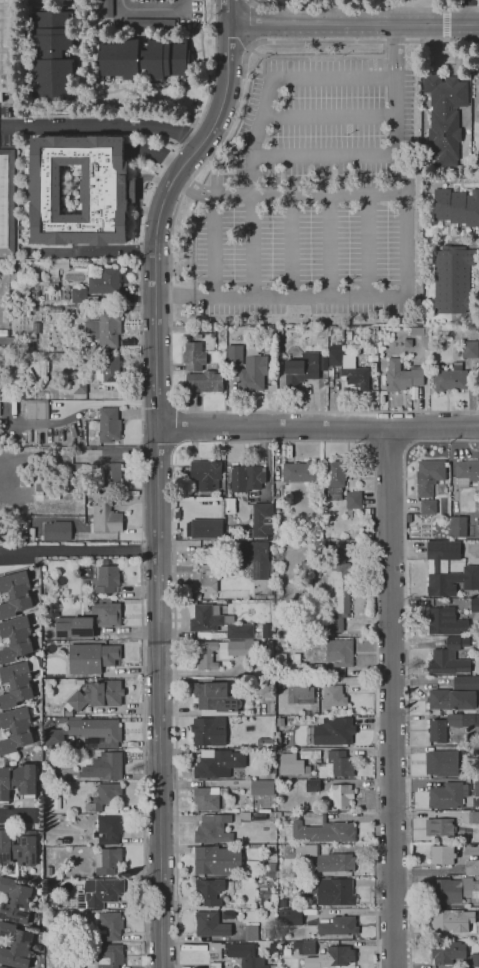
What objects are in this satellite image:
road: (468, 2)
building: (106, 8)
road: (150, 10)
road: (363, 10)
road: (288, 12)
road: (227, 13)
road: (468, 15)
building: (148, 24)
road: (445, 25)
road: (353, 26)
building: (5, 51)
road: (392, 52)
building: (53, 55)
building: (143, 59)
road: (327, 117)
building: (445, 117)
road: (104, 126)
road: (377, 155)
road: (250, 175)
building: (78, 190)
parking lot: (312, 198)
building: (6, 200)
building: (456, 207)
road: (143, 215)
road: (365, 245)
road: (211, 246)
road: (251, 246)
road: (288, 246)
road: (328, 246)
road: (169, 253)
road: (404, 253)
building: (57, 266)
building: (11, 269)
building: (452, 280)
building: (89, 288)
building: (5, 318)
building: (64, 318)
building: (35, 328)
building: (104, 328)
building: (330, 329)
building: (432, 330)
building: (355, 331)
building: (341, 334)
building: (348, 335)
building: (198, 336)
building: (470, 337)
building: (7, 344)
building: (18, 345)
building: (27, 347)
building: (469, 349)
building: (234, 355)
building: (193, 357)
building: (218, 357)
building: (374, 358)
building: (348, 368)
building: (106, 370)
building: (301, 370)
building: (373, 370)
building: (330, 372)
building: (252, 374)
building: (401, 376)
building: (450, 378)
building: (203, 382)
building: (75, 386)
road: (157, 403)
building: (41, 411)
building: (107, 425)
road: (179, 427)
road: (317, 428)
road: (371, 428)
road: (408, 428)
road: (272, 440)
road: (159, 443)
road: (388, 448)
road: (149, 453)
road: (71, 455)
building: (78, 471)
building: (205, 473)
building: (300, 473)
building: (466, 473)
building: (111, 477)
building: (428, 477)
building: (246, 478)
building: (334, 480)
road: (157, 487)
building: (353, 500)
building: (229, 506)
building: (427, 507)
building: (349, 512)
building: (366, 515)
building: (105, 517)
building: (260, 520)
building: (328, 520)
building: (476, 523)
building: (458, 527)
building: (203, 528)
building: (56, 531)
building: (269, 537)
building: (281, 544)
road: (78, 551)
building: (256, 558)
building: (313, 559)
building: (42, 568)
building: (437, 569)
building: (107, 579)
building: (204, 579)
building: (15, 594)
building: (268, 594)
building: (336, 598)
building: (474, 603)
building: (207, 619)
building: (88, 622)
building: (445, 622)
building: (239, 631)
building: (266, 631)
building: (15, 639)
building: (269, 647)
building: (235, 648)
building: (339, 652)
building: (207, 654)
building: (91, 658)
building: (449, 658)
building: (296, 667)
road: (406, 670)
building: (17, 682)
building: (269, 684)
building: (299, 691)
building: (97, 695)
building: (455, 695)
building: (333, 696)
building: (215, 697)
road: (390, 698)
road: (144, 710)
building: (68, 713)
building: (79, 715)
building: (59, 720)
building: (279, 722)
building: (449, 726)
building: (15, 730)
building: (208, 731)
building: (333, 731)
building: (95, 732)
building: (310, 754)
building: (217, 763)
building: (340, 763)
building: (441, 763)
building: (292, 765)
building: (103, 767)
building: (470, 771)
building: (272, 774)
building: (17, 781)
building: (307, 785)
building: (261, 787)
building: (476, 789)
building: (339, 795)
building: (446, 796)
building: (104, 797)
building: (207, 798)
building: (277, 815)
building: (424, 815)
building: (473, 817)
building: (62, 819)
building: (439, 827)
building: (109, 829)
building: (320, 829)
building: (213, 830)
building: (17, 848)
building: (268, 848)
building: (441, 855)
building: (327, 859)
building: (215, 860)
building: (107, 861)
building: (472, 867)
building: (271, 868)
building: (32, 879)
building: (209, 891)
building: (445, 891)
building: (335, 892)
building: (478, 892)
building: (98, 893)
building: (282, 899)
building: (14, 901)
building: (290, 917)
building: (441, 920)
building: (210, 925)
building: (109, 926)
building: (338, 926)
building: (472, 931)
building: (251, 933)
building: (15, 946)
building: (308, 948)
building: (447, 952)
building: (237, 955)
building: (108, 957)
building: (330, 958)
building: (474, 960)
building: (72, 965)
building: (2, 967)

